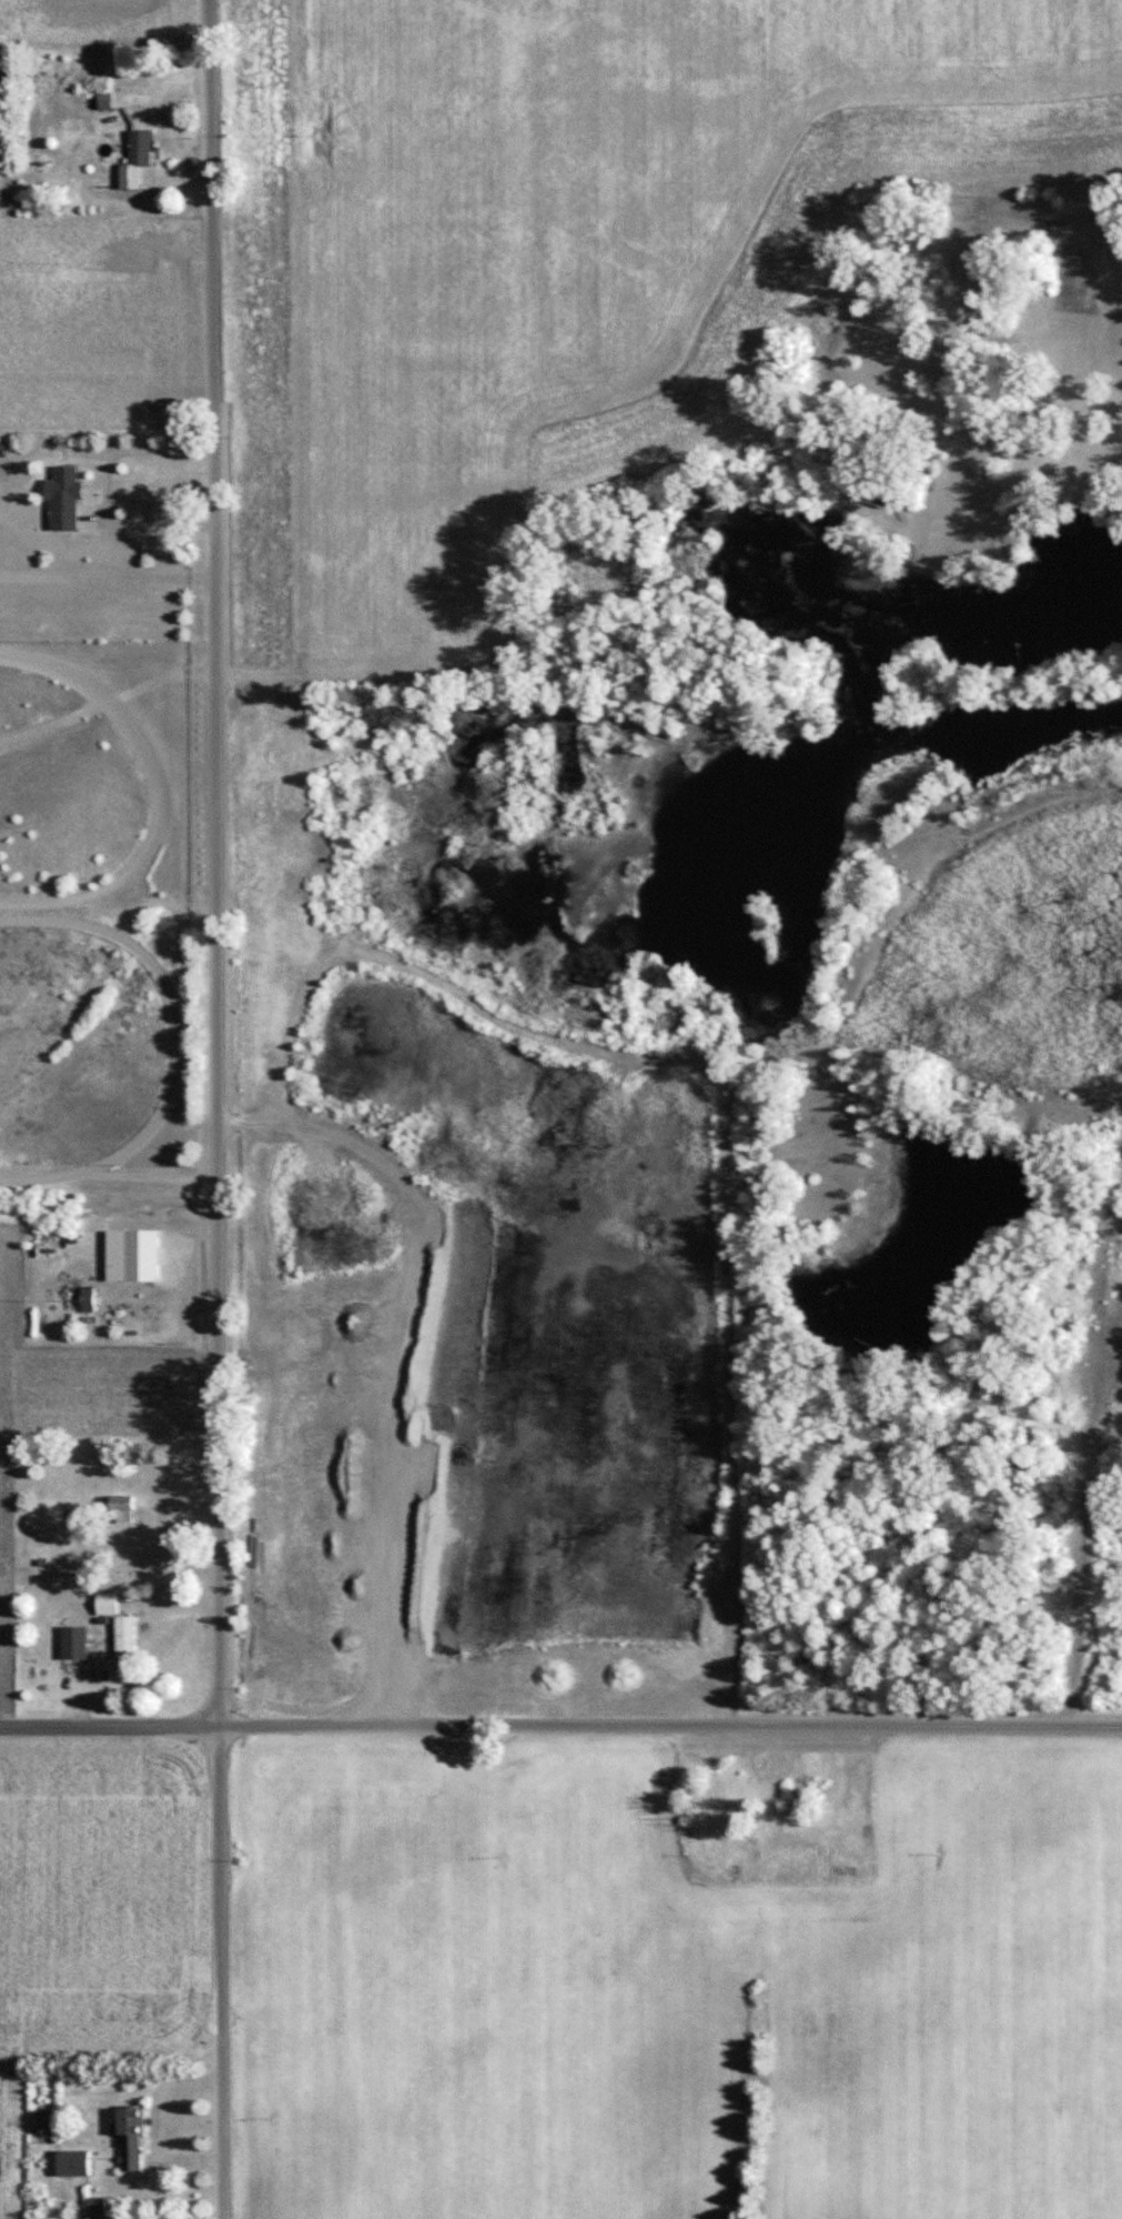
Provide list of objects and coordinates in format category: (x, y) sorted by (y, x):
building: (135, 159)
road: (105, 490)
building: (64, 498)
road: (108, 574)
road: (171, 1008)
road: (212, 1109)
road: (36, 1173)
road: (142, 1176)
building: (115, 1254)
building: (87, 1297)
building: (122, 1508)
road: (153, 1517)
road: (1098, 1562)
building: (125, 1636)
building: (74, 1643)
road: (560, 1725)
building: (131, 2137)
building: (73, 2161)

